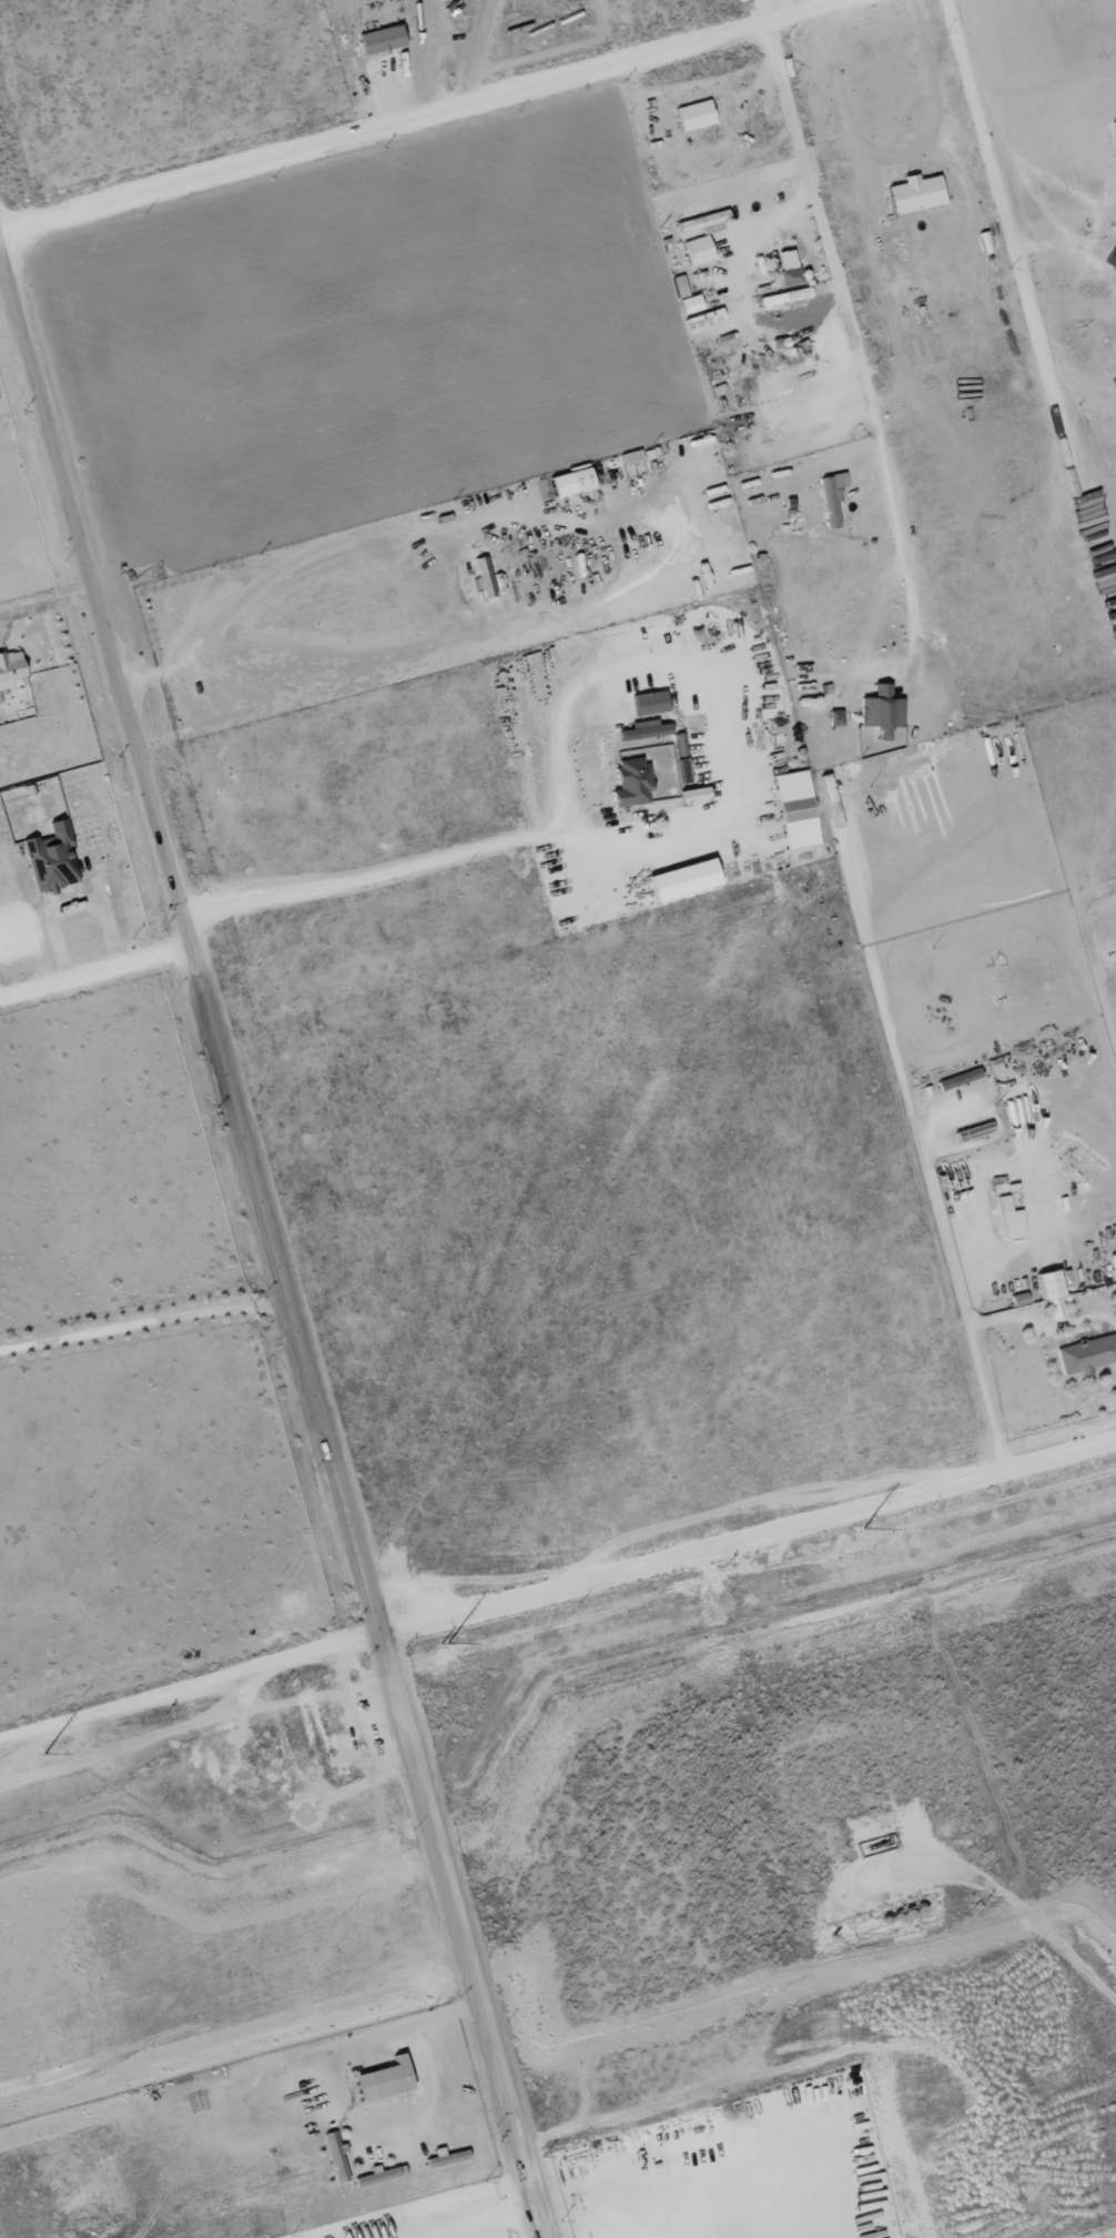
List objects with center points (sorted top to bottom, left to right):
road: (760, 10)
building: (384, 39)
road: (475, 51)
road: (389, 95)
road: (419, 112)
building: (697, 114)
building: (1115, 125)
building: (917, 193)
building: (707, 221)
building: (699, 249)
building: (1112, 259)
building: (790, 266)
building: (681, 284)
building: (787, 295)
building: (692, 303)
building: (632, 455)
building: (574, 481)
building: (833, 495)
building: (486, 575)
building: (11, 668)
building: (651, 702)
building: (883, 709)
building: (836, 717)
building: (647, 728)
building: (633, 780)
building: (798, 808)
road: (669, 841)
building: (53, 858)
building: (686, 878)
road: (94, 967)
building: (1012, 1219)
road: (276, 1252)
building: (1054, 1294)
road: (145, 1322)
building: (1087, 1354)
power tower: (850, 1530)
road: (558, 1594)
power tower: (436, 1644)
power tower: (37, 1754)
road: (1027, 1917)
building: (386, 2078)
building: (337, 2155)
road: (403, 2204)
road: (491, 2219)

